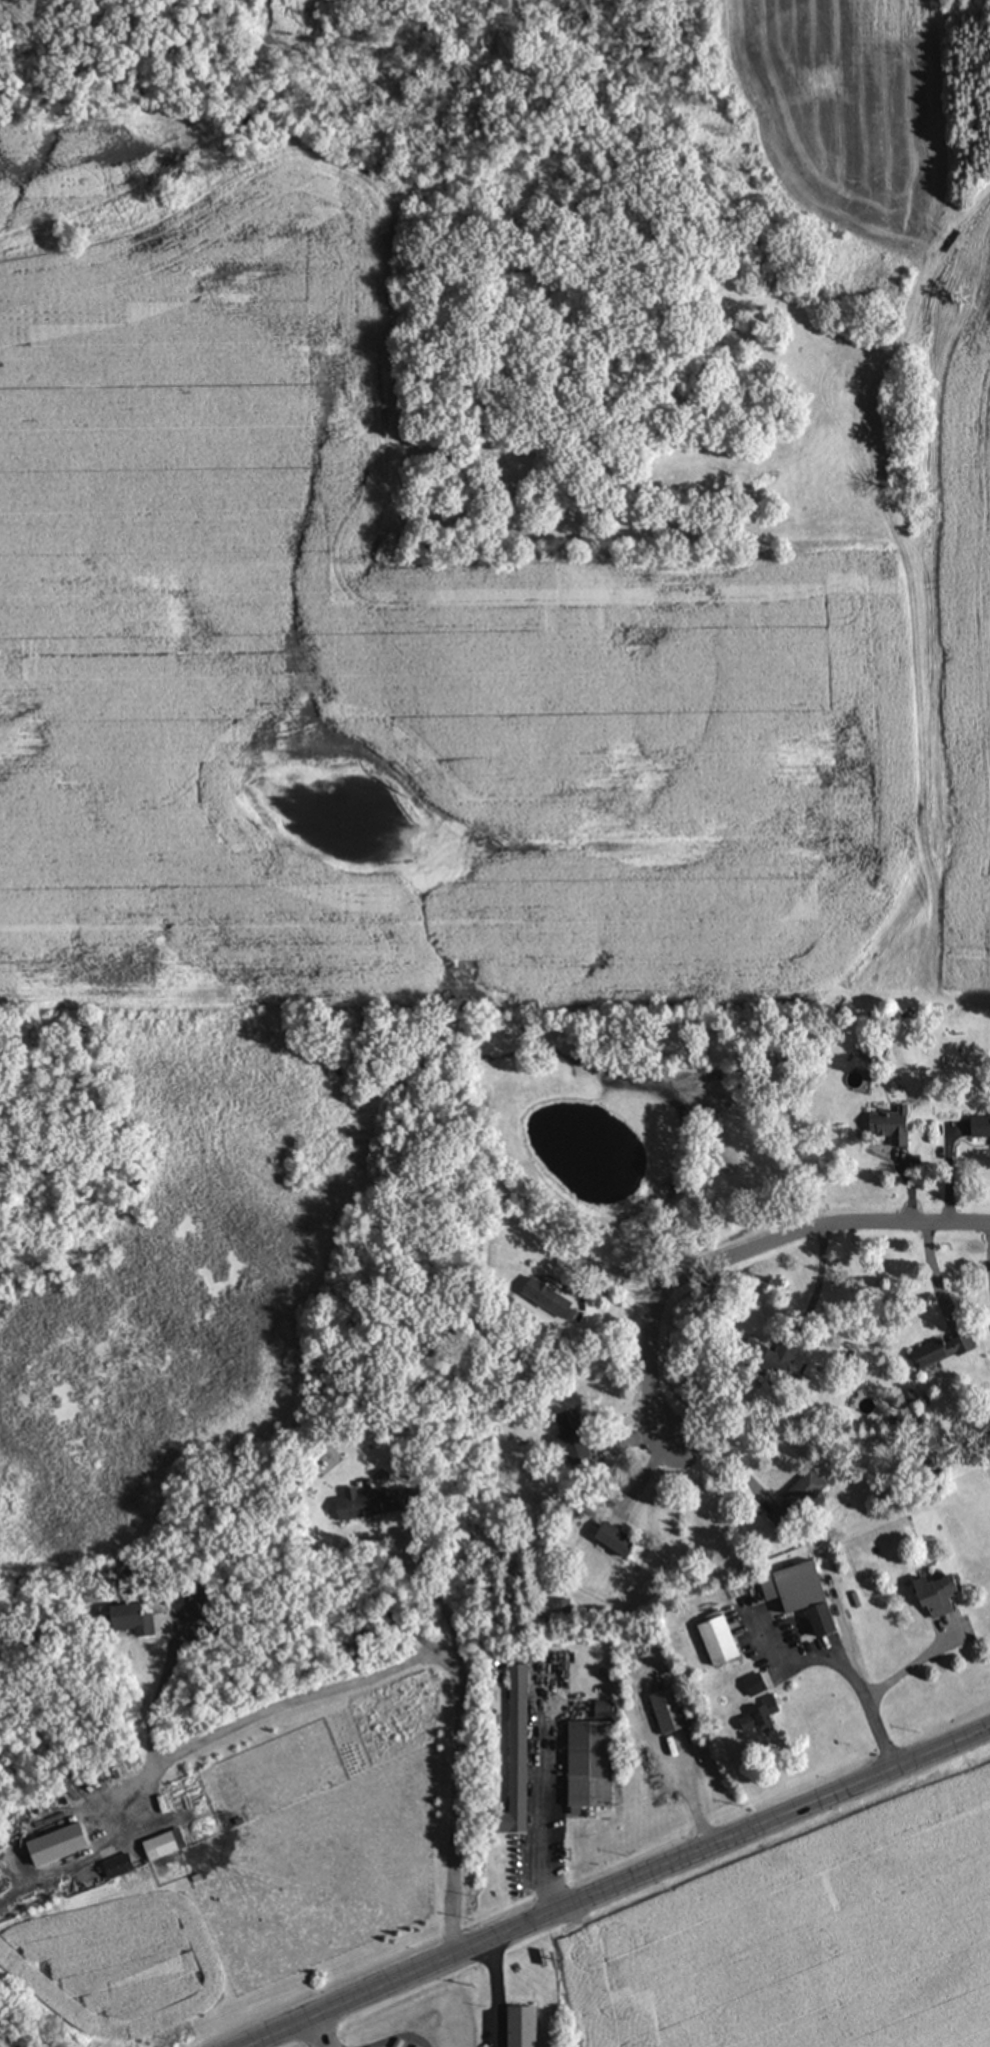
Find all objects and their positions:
building: (895, 1124)
building: (982, 1125)
road: (747, 1248)
road: (613, 1269)
road: (930, 1275)
building: (552, 1297)
building: (946, 1349)
building: (575, 1439)
road: (714, 1460)
building: (799, 1499)
building: (373, 1502)
building: (621, 1540)
building: (806, 1593)
building: (943, 1594)
road: (438, 1598)
building: (140, 1617)
road: (415, 1657)
road: (909, 1667)
road: (854, 1681)
building: (671, 1710)
building: (765, 1716)
building: (519, 1755)
building: (593, 1763)
road: (541, 1805)
building: (167, 1843)
building: (121, 1865)
road: (630, 1888)
building: (525, 2026)
road: (313, 2038)

